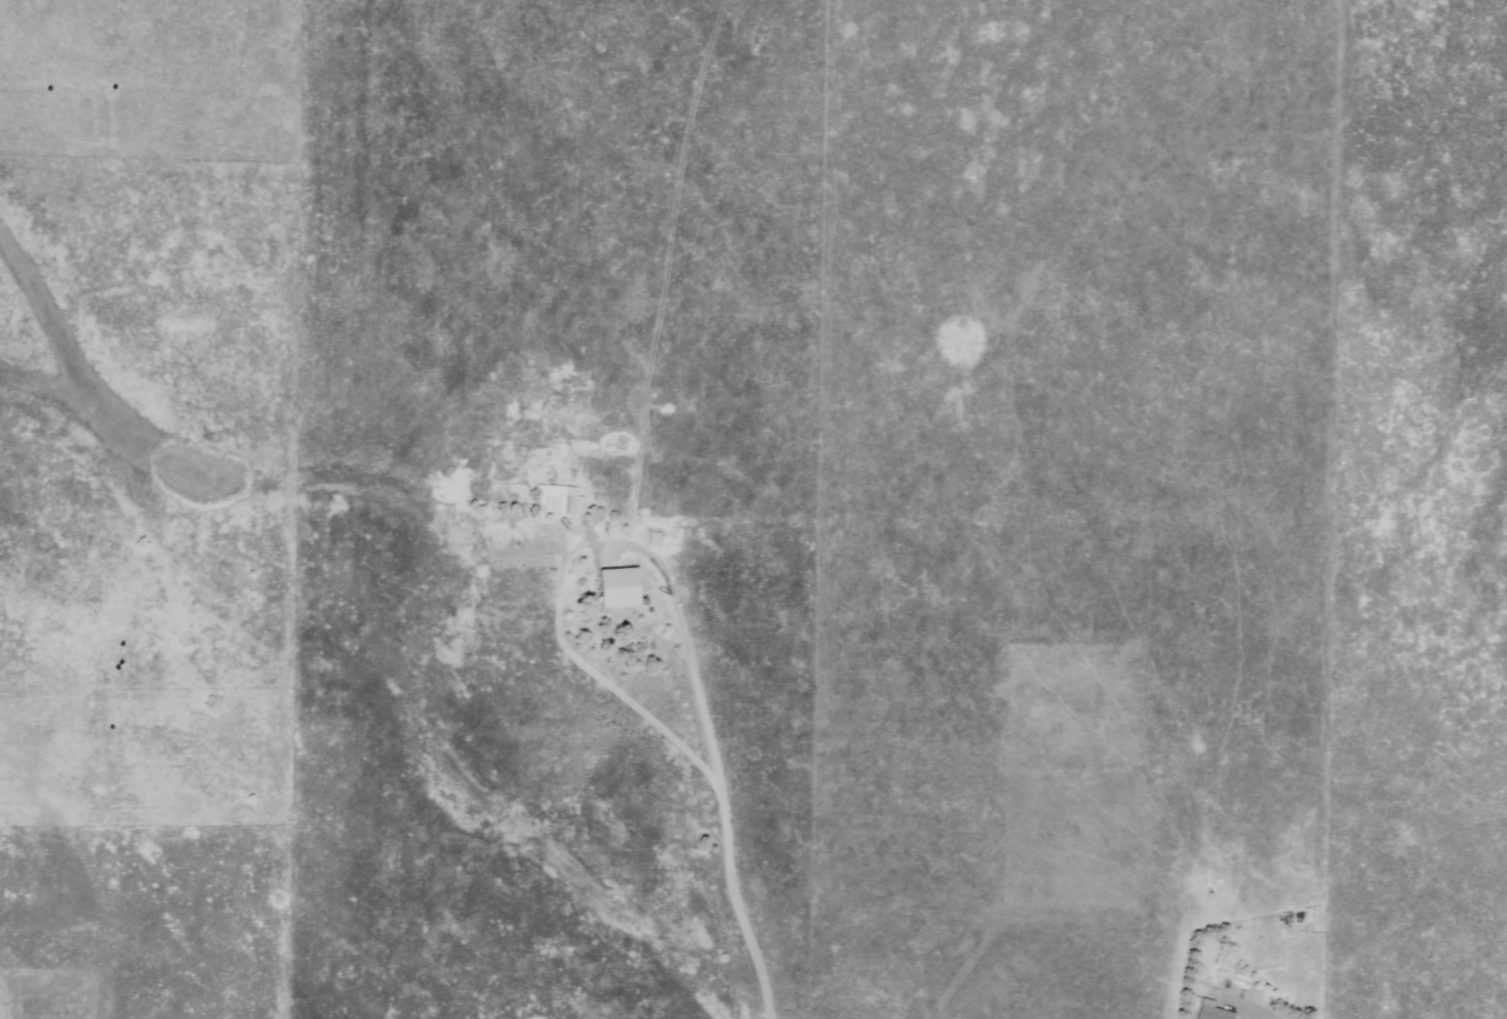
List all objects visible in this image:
building: (562, 504)
building: (621, 587)
road: (715, 753)
building: (1224, 964)
building: (1215, 1010)
road: (1256, 1018)

